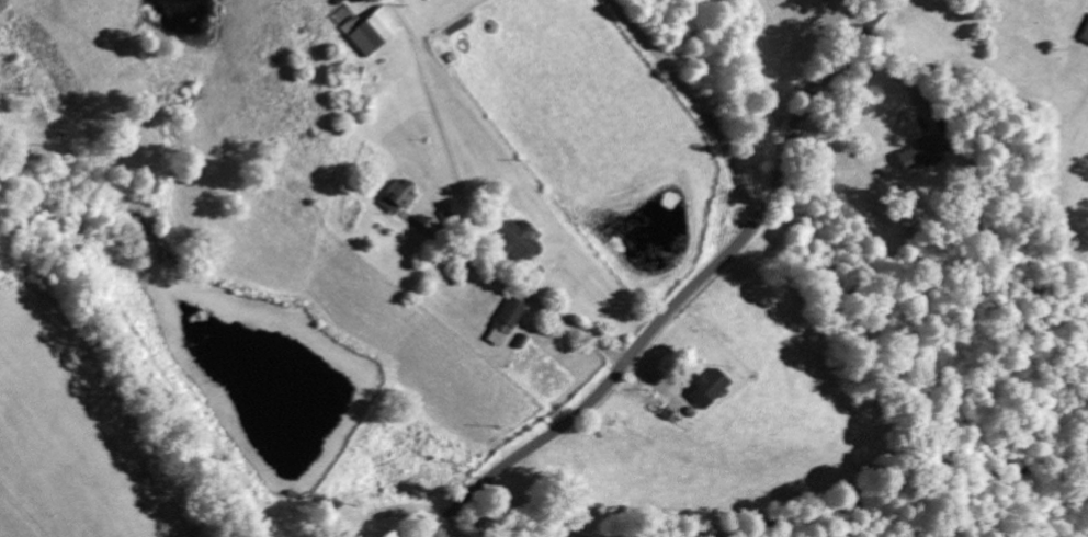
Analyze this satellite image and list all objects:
building: (1084, 32)
building: (366, 33)
building: (919, 152)
building: (395, 198)
building: (514, 242)
road: (692, 290)
building: (501, 323)
building: (705, 390)

